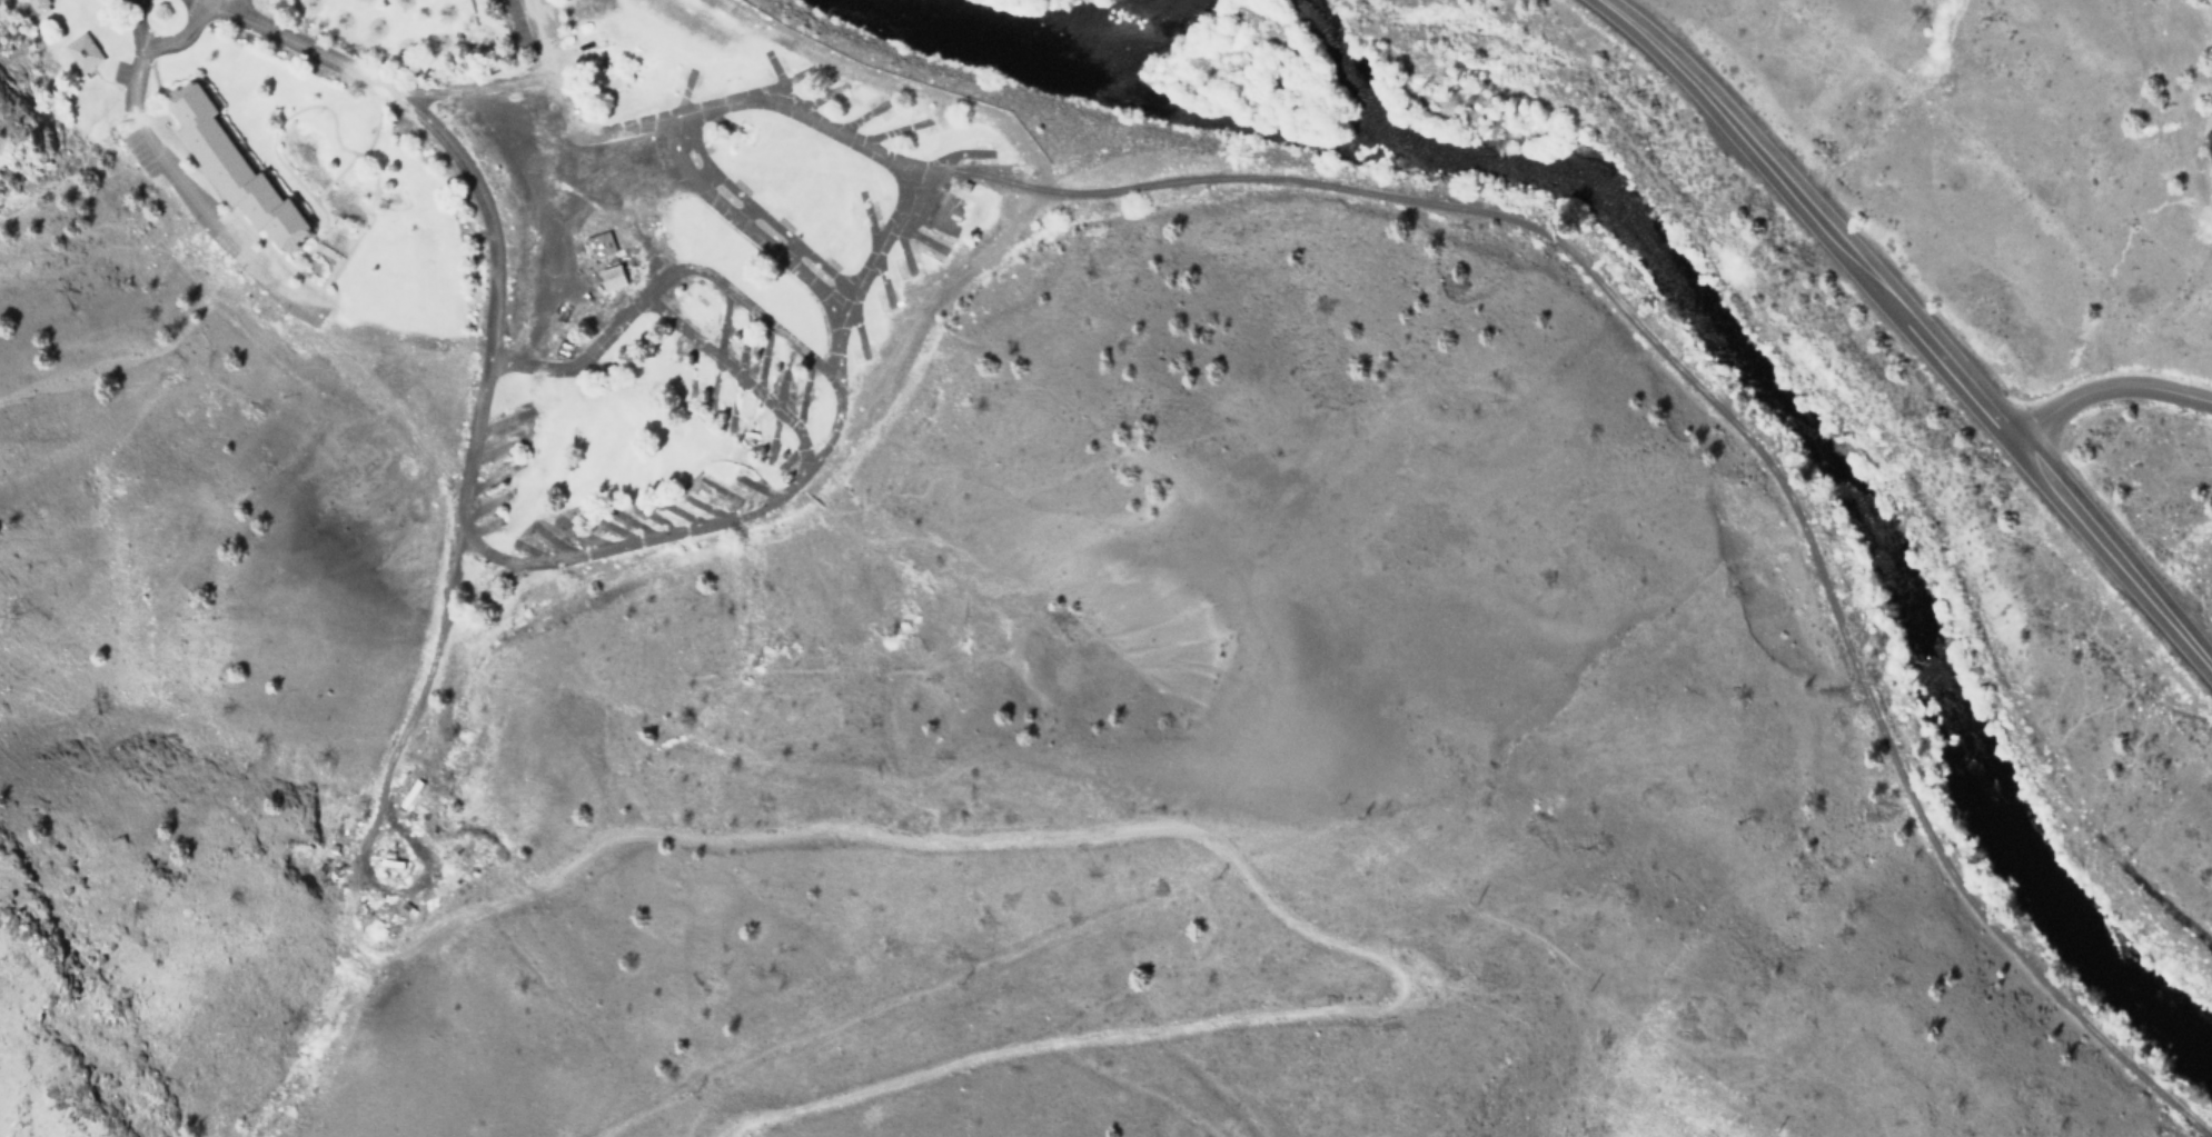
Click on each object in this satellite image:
road: (206, 3)
road: (220, 3)
building: (38, 7)
road: (472, 12)
park: (688, 22)
parking lot: (539, 27)
road: (180, 37)
river: (1022, 43)
road: (298, 44)
building: (83, 52)
road: (498, 84)
road: (701, 110)
road: (275, 128)
building: (2210, 138)
building: (978, 153)
building: (232, 169)
road: (335, 177)
road: (177, 182)
building: (731, 191)
road: (218, 195)
road: (365, 226)
road: (743, 227)
building: (598, 246)
building: (612, 278)
road: (661, 279)
road: (1913, 323)
road: (735, 378)
road: (2109, 389)
road: (1717, 410)
river: (1819, 459)
road: (562, 558)

